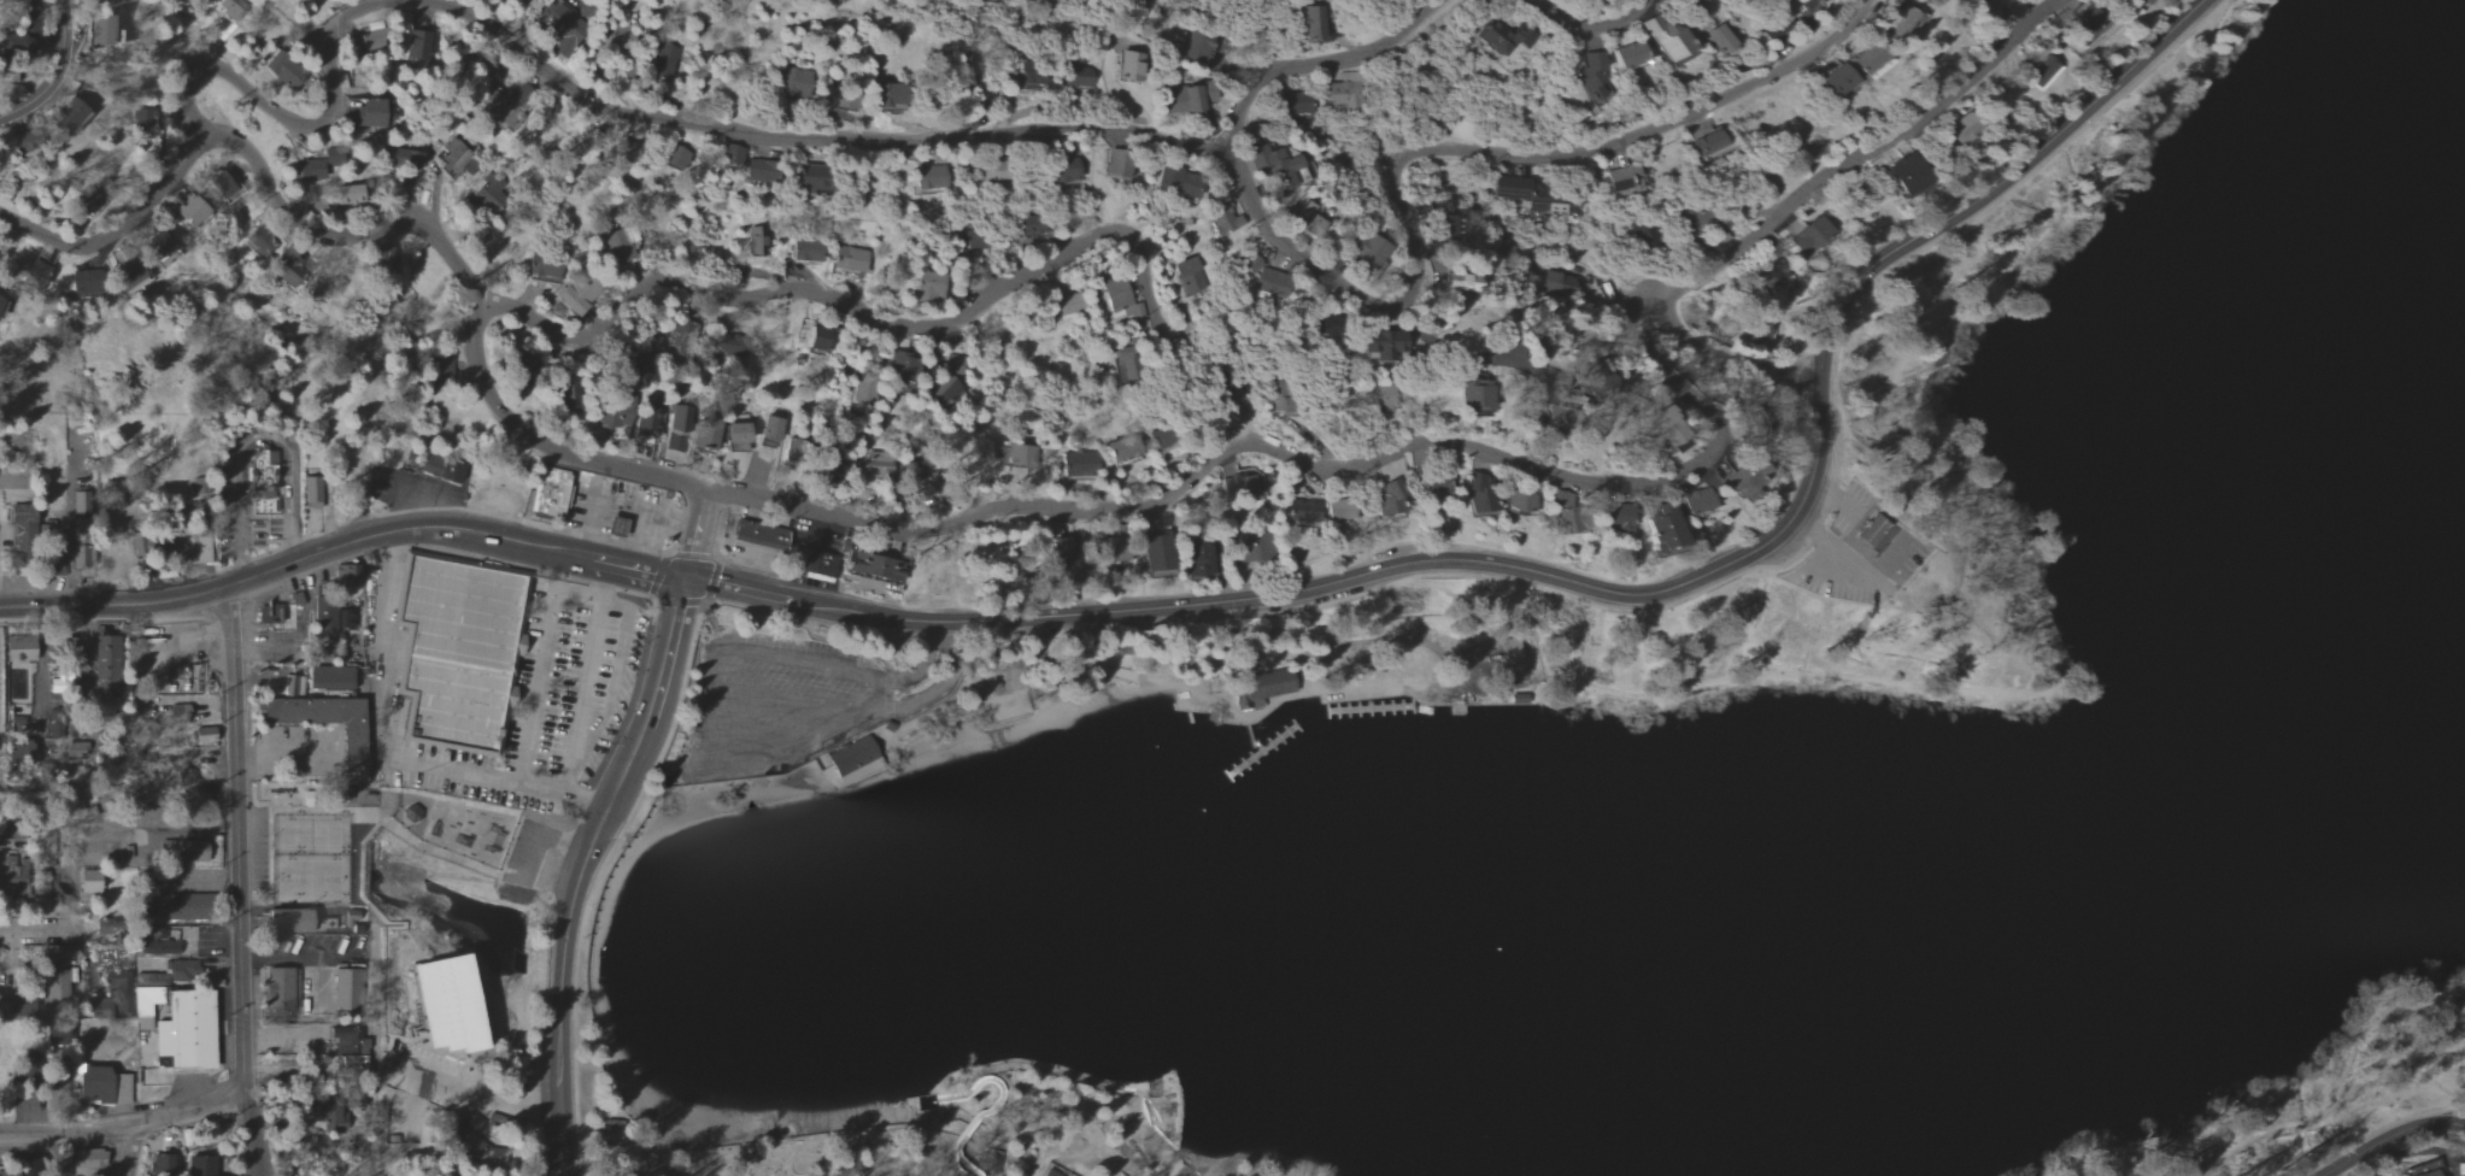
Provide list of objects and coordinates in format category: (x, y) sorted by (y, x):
building: (2124, 0)
building: (1979, 1)
building: (1824, 2)
road: (1572, 5)
road: (512, 14)
building: (1309, 23)
building: (1902, 23)
building: (2087, 25)
building: (562, 30)
building: (110, 31)
building: (1501, 35)
building: (1722, 36)
building: (1665, 40)
building: (415, 46)
building: (1198, 47)
building: (1626, 55)
building: (1870, 60)
road: (1310, 61)
building: (663, 63)
building: (1127, 65)
building: (282, 70)
road: (54, 71)
building: (2043, 72)
building: (1076, 75)
building: (1590, 75)
building: (1032, 77)
building: (1832, 81)
building: (794, 83)
building: (892, 95)
building: (1342, 98)
building: (1185, 100)
building: (370, 112)
building: (70, 114)
building: (145, 122)
building: (1961, 128)
road: (1040, 129)
building: (1706, 145)
building: (729, 155)
road: (1859, 157)
building: (453, 159)
building: (1274, 165)
building: (1115, 170)
building: (756, 171)
building: (1904, 175)
building: (929, 177)
building: (228, 178)
building: (1621, 180)
building: (806, 181)
building: (1175, 182)
building: (488, 192)
building: (348, 194)
building: (1531, 194)
building: (192, 212)
building: (1222, 222)
building: (1308, 222)
building: (1446, 228)
building: (1812, 235)
road: (128, 236)
building: (756, 243)
building: (259, 246)
building: (617, 248)
building: (160, 249)
building: (805, 251)
building: (1367, 254)
building: (849, 259)
building: (546, 265)
building: (36, 275)
building: (283, 275)
building: (130, 276)
building: (1189, 276)
building: (1264, 280)
building: (84, 282)
building: (1461, 282)
building: (928, 286)
road: (791, 289)
building: (579, 295)
building: (1120, 302)
building: (1067, 305)
building: (1759, 334)
building: (682, 336)
building: (811, 339)
road: (1469, 340)
building: (1383, 343)
road: (1725, 358)
building: (445, 361)
building: (903, 364)
building: (516, 365)
building: (937, 390)
road: (1833, 392)
building: (864, 394)
building: (1386, 395)
building: (1474, 398)
building: (1281, 405)
building: (617, 419)
building: (1665, 428)
building: (769, 429)
building: (706, 434)
road: (254, 436)
building: (736, 436)
building: (1921, 446)
building: (1123, 451)
building: (1078, 465)
building: (441, 469)
building: (909, 472)
building: (264, 474)
building: (1748, 480)
building: (1238, 487)
building: (309, 492)
building: (550, 493)
building: (1479, 494)
building: (1520, 500)
building: (1697, 500)
building: (1340, 510)
building: (1302, 511)
road: (985, 513)
building: (1618, 516)
building: (19, 518)
building: (1572, 519)
building: (1661, 527)
building: (1871, 530)
building: (756, 534)
road: (696, 535)
road: (340, 545)
road: (667, 545)
building: (188, 547)
building: (1148, 548)
building: (1256, 548)
building: (1058, 555)
building: (1198, 559)
road: (1730, 561)
building: (811, 564)
road: (1850, 564)
building: (346, 574)
road: (601, 578)
road: (2040, 594)
road: (592, 595)
building: (294, 599)
road: (808, 605)
building: (268, 613)
road: (761, 613)
road: (951, 622)
road: (383, 645)
building: (454, 648)
building: (17, 649)
building: (1514, 654)
building: (96, 670)
road: (921, 670)
building: (327, 677)
building: (288, 686)
road: (934, 686)
road: (539, 688)
building: (1258, 689)
road: (611, 690)
road: (583, 695)
road: (870, 695)
parking lot: (800, 700)
road: (706, 702)
road: (777, 705)
building: (177, 715)
building: (201, 736)
building: (18, 749)
building: (852, 760)
park: (1688, 763)
road: (500, 780)
park: (470, 830)
building: (178, 852)
road: (580, 870)
building: (87, 881)
road: (192, 881)
road: (235, 881)
building: (350, 917)
building: (284, 921)
building: (324, 924)
road: (24, 931)
building: (164, 937)
road: (289, 960)
building: (276, 987)
building: (344, 990)
building: (441, 1002)
building: (143, 1006)
building: (182, 1031)
building: (101, 1086)
road: (479, 1099)
road: (2335, 1109)
building: (328, 1119)
road: (123, 1125)
road: (2379, 1130)
road: (2390, 1137)
road: (124, 1151)
building: (89, 1162)
building: (160, 1163)
building: (200, 1166)
building: (57, 1168)
building: (8, 1174)

